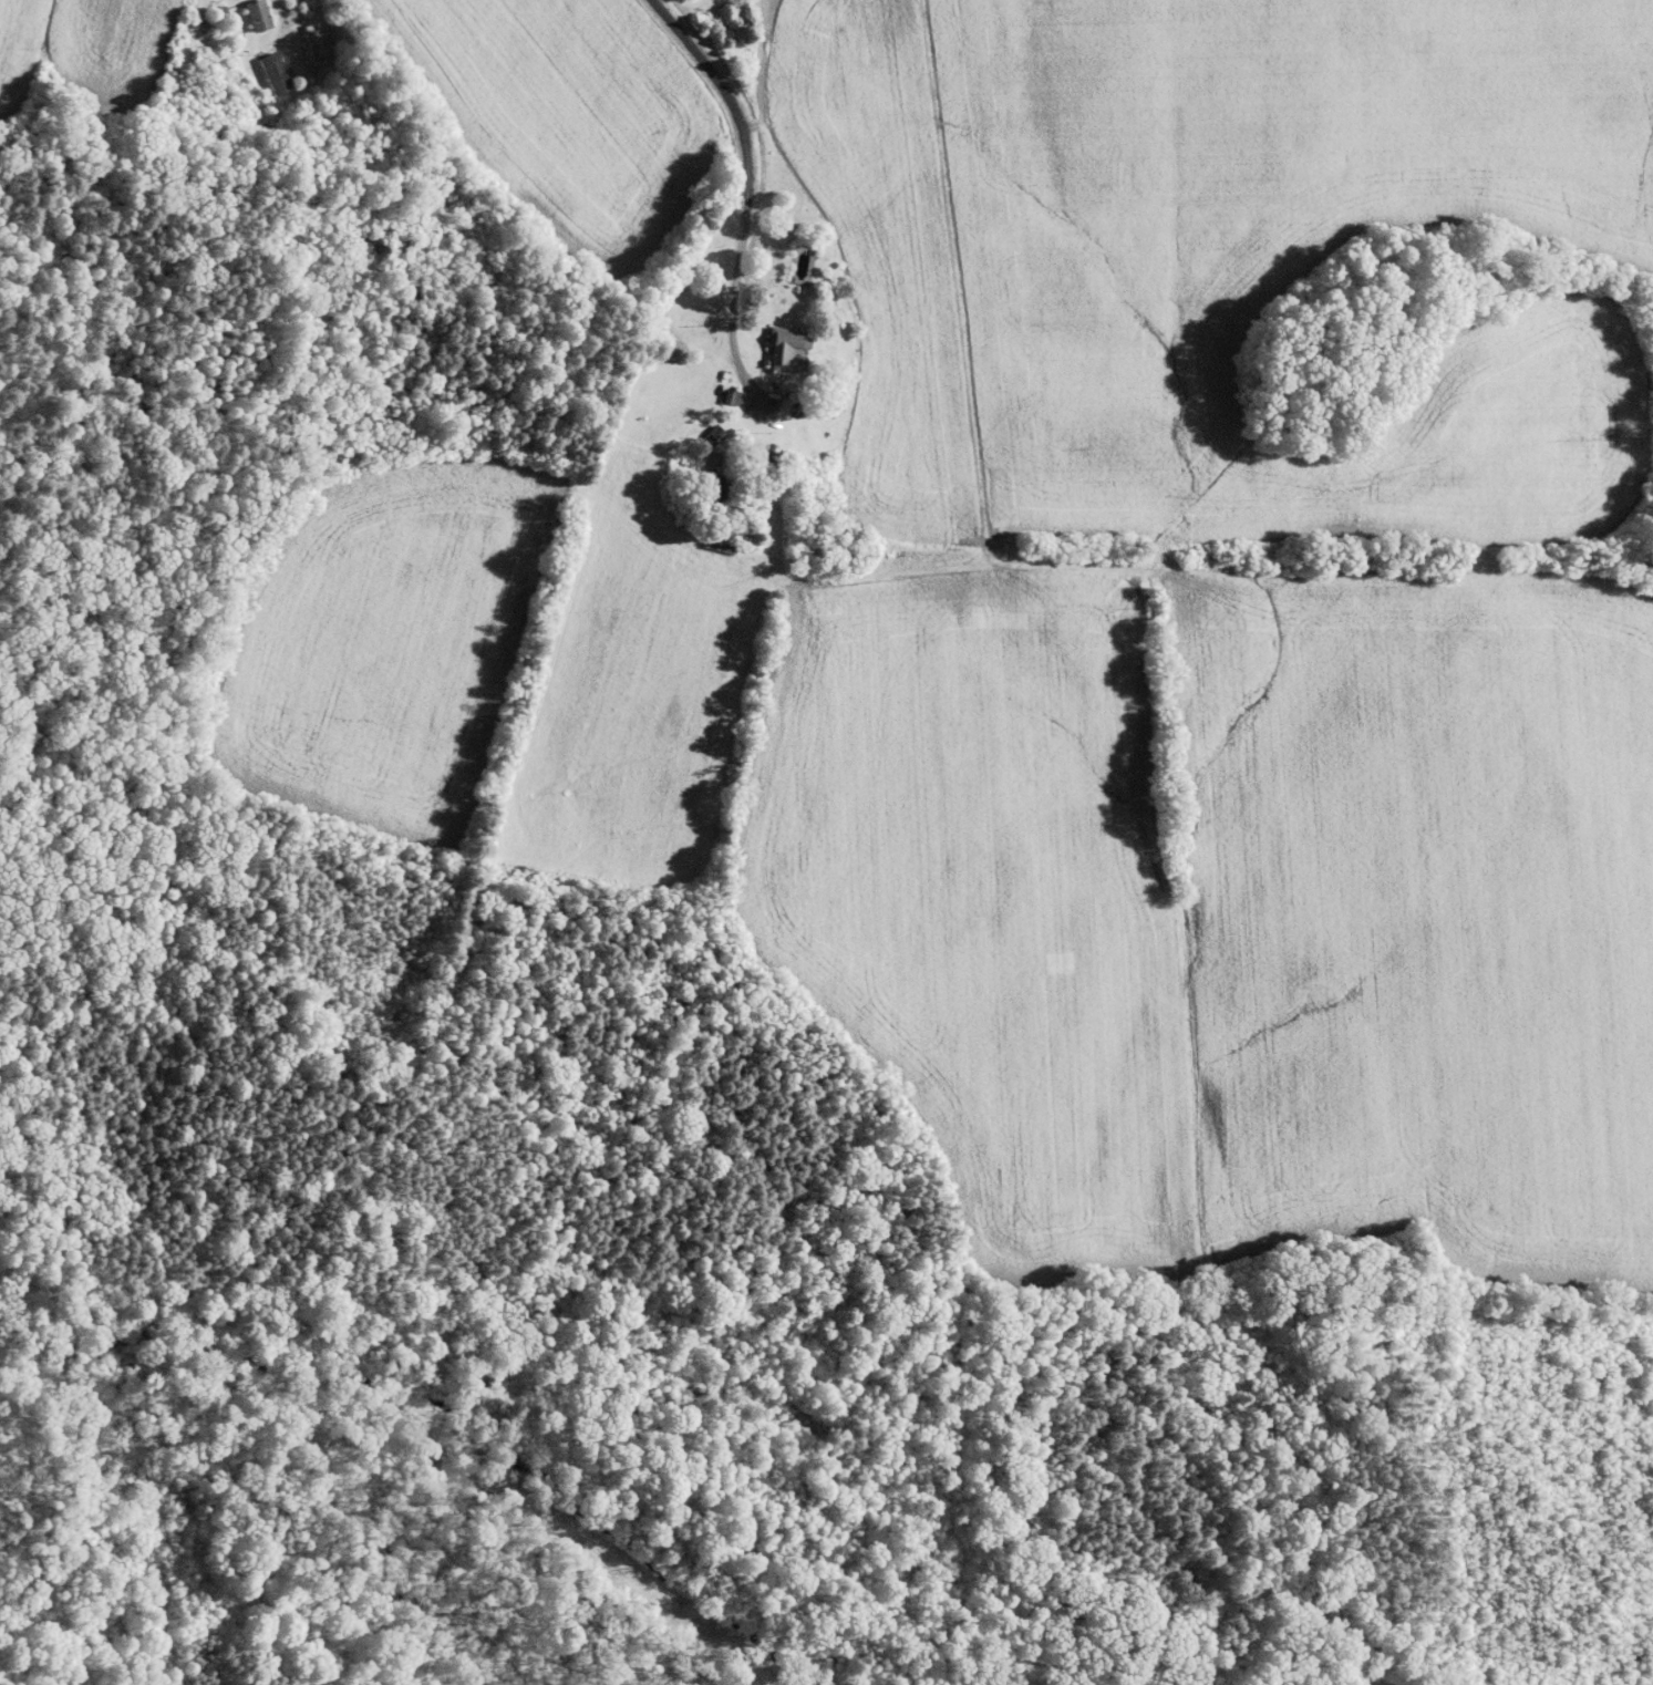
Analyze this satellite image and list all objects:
building: (261, 14)
building: (276, 70)
road: (747, 182)
building: (792, 348)
building: (719, 431)

